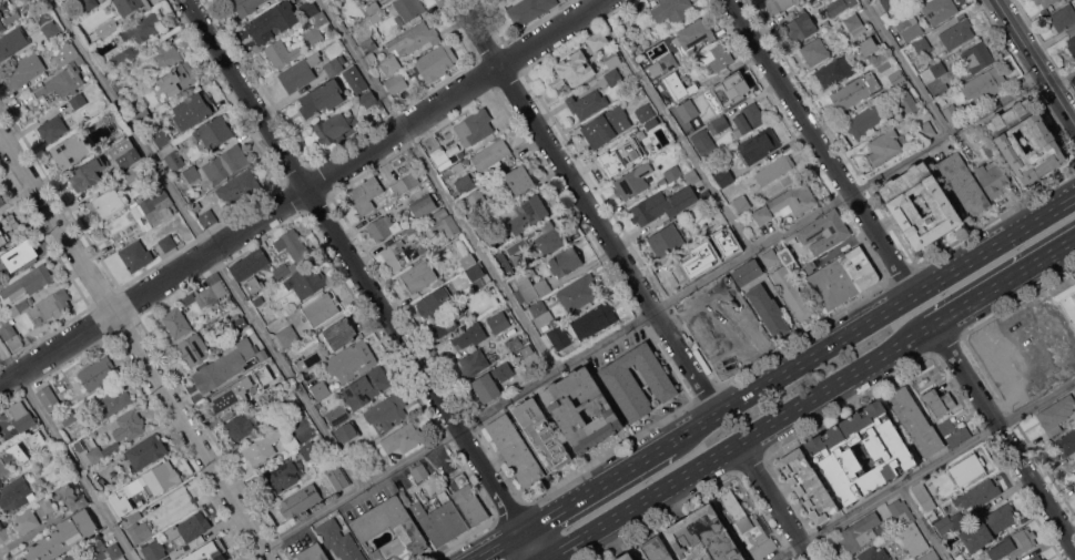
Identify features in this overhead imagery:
building: (14, 1)
building: (22, 1)
building: (919, 1)
building: (1045, 2)
building: (89, 3)
building: (889, 3)
building: (779, 4)
building: (132, 6)
building: (246, 6)
building: (840, 6)
building: (373, 7)
building: (308, 9)
building: (406, 10)
building: (529, 10)
building: (937, 10)
building: (670, 12)
building: (1, 14)
building: (1063, 17)
building: (375, 18)
building: (272, 21)
building: (1, 24)
building: (854, 24)
building: (801, 26)
building: (1074, 26)
building: (51, 28)
building: (108, 28)
building: (316, 28)
building: (907, 28)
building: (957, 31)
building: (694, 33)
building: (61, 35)
building: (138, 35)
building: (414, 39)
building: (598, 39)
building: (12, 42)
building: (1072, 43)
building: (368, 44)
building: (922, 44)
building: (868, 45)
building: (815, 50)
building: (65, 52)
building: (282, 52)
building: (163, 54)
building: (371, 57)
building: (611, 57)
building: (977, 57)
building: (717, 58)
road: (1036, 60)
building: (669, 61)
building: (436, 62)
building: (335, 64)
building: (388, 65)
road: (906, 67)
building: (23, 70)
building: (572, 70)
building: (835, 70)
building: (933, 71)
building: (301, 72)
building: (613, 77)
building: (897, 77)
building: (178, 79)
building: (355, 79)
road: (1063, 79)
building: (396, 82)
building: (60, 83)
building: (984, 84)
building: (678, 85)
building: (943, 88)
building: (730, 89)
building: (855, 89)
building: (322, 98)
building: (368, 99)
building: (78, 101)
building: (907, 101)
building: (587, 103)
building: (193, 110)
building: (951, 111)
building: (645, 112)
building: (689, 112)
building: (748, 119)
building: (708, 120)
building: (865, 120)
building: (650, 124)
building: (718, 124)
building: (606, 125)
building: (332, 126)
building: (474, 126)
road: (673, 126)
building: (52, 128)
building: (925, 130)
building: (213, 131)
building: (978, 132)
road: (950, 133)
building: (162, 138)
building: (1042, 140)
building: (703, 142)
building: (759, 144)
road: (824, 146)
building: (884, 146)
building: (71, 150)
building: (987, 150)
building: (124, 152)
building: (462, 153)
building: (444, 155)
building: (491, 156)
building: (621, 156)
building: (174, 160)
building: (465, 161)
building: (220, 165)
building: (773, 169)
building: (446, 172)
building: (88, 173)
building: (131, 174)
building: (724, 176)
building: (519, 179)
building: (992, 179)
building: (963, 182)
building: (405, 183)
building: (465, 183)
building: (630, 183)
road: (440, 185)
building: (237, 189)
road: (303, 192)
building: (365, 194)
building: (669, 197)
building: (476, 198)
building: (1, 201)
building: (107, 202)
building: (742, 203)
building: (787, 203)
building: (196, 205)
building: (424, 206)
building: (153, 207)
road: (590, 207)
building: (902, 207)
building: (528, 213)
building: (207, 217)
building: (444, 223)
building: (384, 227)
building: (485, 227)
building: (412, 230)
building: (824, 231)
building: (3, 235)
building: (550, 237)
building: (666, 240)
building: (166, 242)
road: (209, 244)
building: (293, 245)
building: (397, 254)
building: (135, 255)
building: (19, 256)
building: (770, 257)
building: (789, 258)
building: (800, 258)
building: (468, 259)
building: (565, 261)
building: (249, 263)
building: (504, 263)
building: (807, 265)
road: (358, 266)
building: (282, 271)
building: (748, 272)
building: (418, 276)
building: (476, 276)
building: (843, 277)
building: (306, 279)
building: (30, 282)
road: (1004, 284)
building: (250, 285)
building: (529, 286)
building: (211, 289)
building: (579, 292)
building: (792, 292)
building: (1066, 295)
building: (435, 302)
building: (22, 305)
building: (52, 305)
building: (501, 305)
building: (321, 309)
building: (769, 309)
building: (540, 313)
road: (888, 313)
building: (595, 319)
building: (1045, 319)
building: (237, 320)
building: (176, 322)
building: (447, 322)
building: (499, 322)
building: (723, 328)
building: (250, 329)
building: (337, 332)
building: (11, 335)
building: (288, 335)
building: (469, 336)
building: (558, 338)
building: (514, 343)
road: (135, 345)
building: (193, 349)
building: (1035, 349)
building: (527, 350)
building: (263, 355)
building: (998, 358)
building: (311, 360)
building: (352, 360)
building: (1065, 360)
building: (474, 363)
building: (224, 366)
building: (97, 373)
road: (549, 376)
building: (493, 380)
building: (621, 381)
building: (366, 387)
building: (320, 388)
building: (265, 389)
building: (286, 390)
building: (1025, 391)
building: (231, 395)
building: (49, 398)
building: (114, 400)
building: (937, 400)
building: (582, 409)
building: (387, 410)
building: (1056, 414)
building: (338, 415)
building: (22, 416)
building: (68, 416)
building: (915, 420)
building: (242, 427)
building: (541, 430)
building: (954, 431)
building: (347, 432)
road: (1005, 434)
building: (118, 435)
building: (0, 439)
building: (36, 439)
building: (400, 439)
building: (290, 441)
building: (1066, 442)
road: (741, 444)
building: (80, 446)
building: (263, 446)
building: (515, 449)
building: (308, 450)
road: (68, 452)
building: (144, 452)
building: (832, 454)
building: (12, 457)
building: (967, 468)
road: (924, 469)
building: (419, 471)
building: (283, 476)
building: (337, 477)
building: (160, 478)
road: (615, 481)
building: (809, 485)
building: (16, 493)
building: (978, 493)
building: (70, 496)
building: (924, 496)
building: (304, 498)
road: (605, 499)
road: (779, 500)
building: (45, 505)
building: (123, 505)
building: (470, 505)
building: (902, 510)
building: (135, 516)
building: (24, 520)
building: (440, 521)
road: (923, 522)
building: (950, 522)
building: (748, 526)
building: (190, 527)
building: (369, 527)
building: (985, 528)
building: (140, 531)
building: (860, 532)
road: (29, 533)
building: (64, 536)
building: (703, 537)
building: (914, 538)
building: (339, 540)
building: (1014, 543)
road: (506, 547)
building: (656, 549)
building: (153, 550)
road: (525, 550)
building: (94, 551)
building: (209, 551)
building: (313, 552)
building: (874, 553)
building: (930, 556)
building: (625, 557)
building: (962, 558)
building: (1037, 558)
building: (972, 559)

